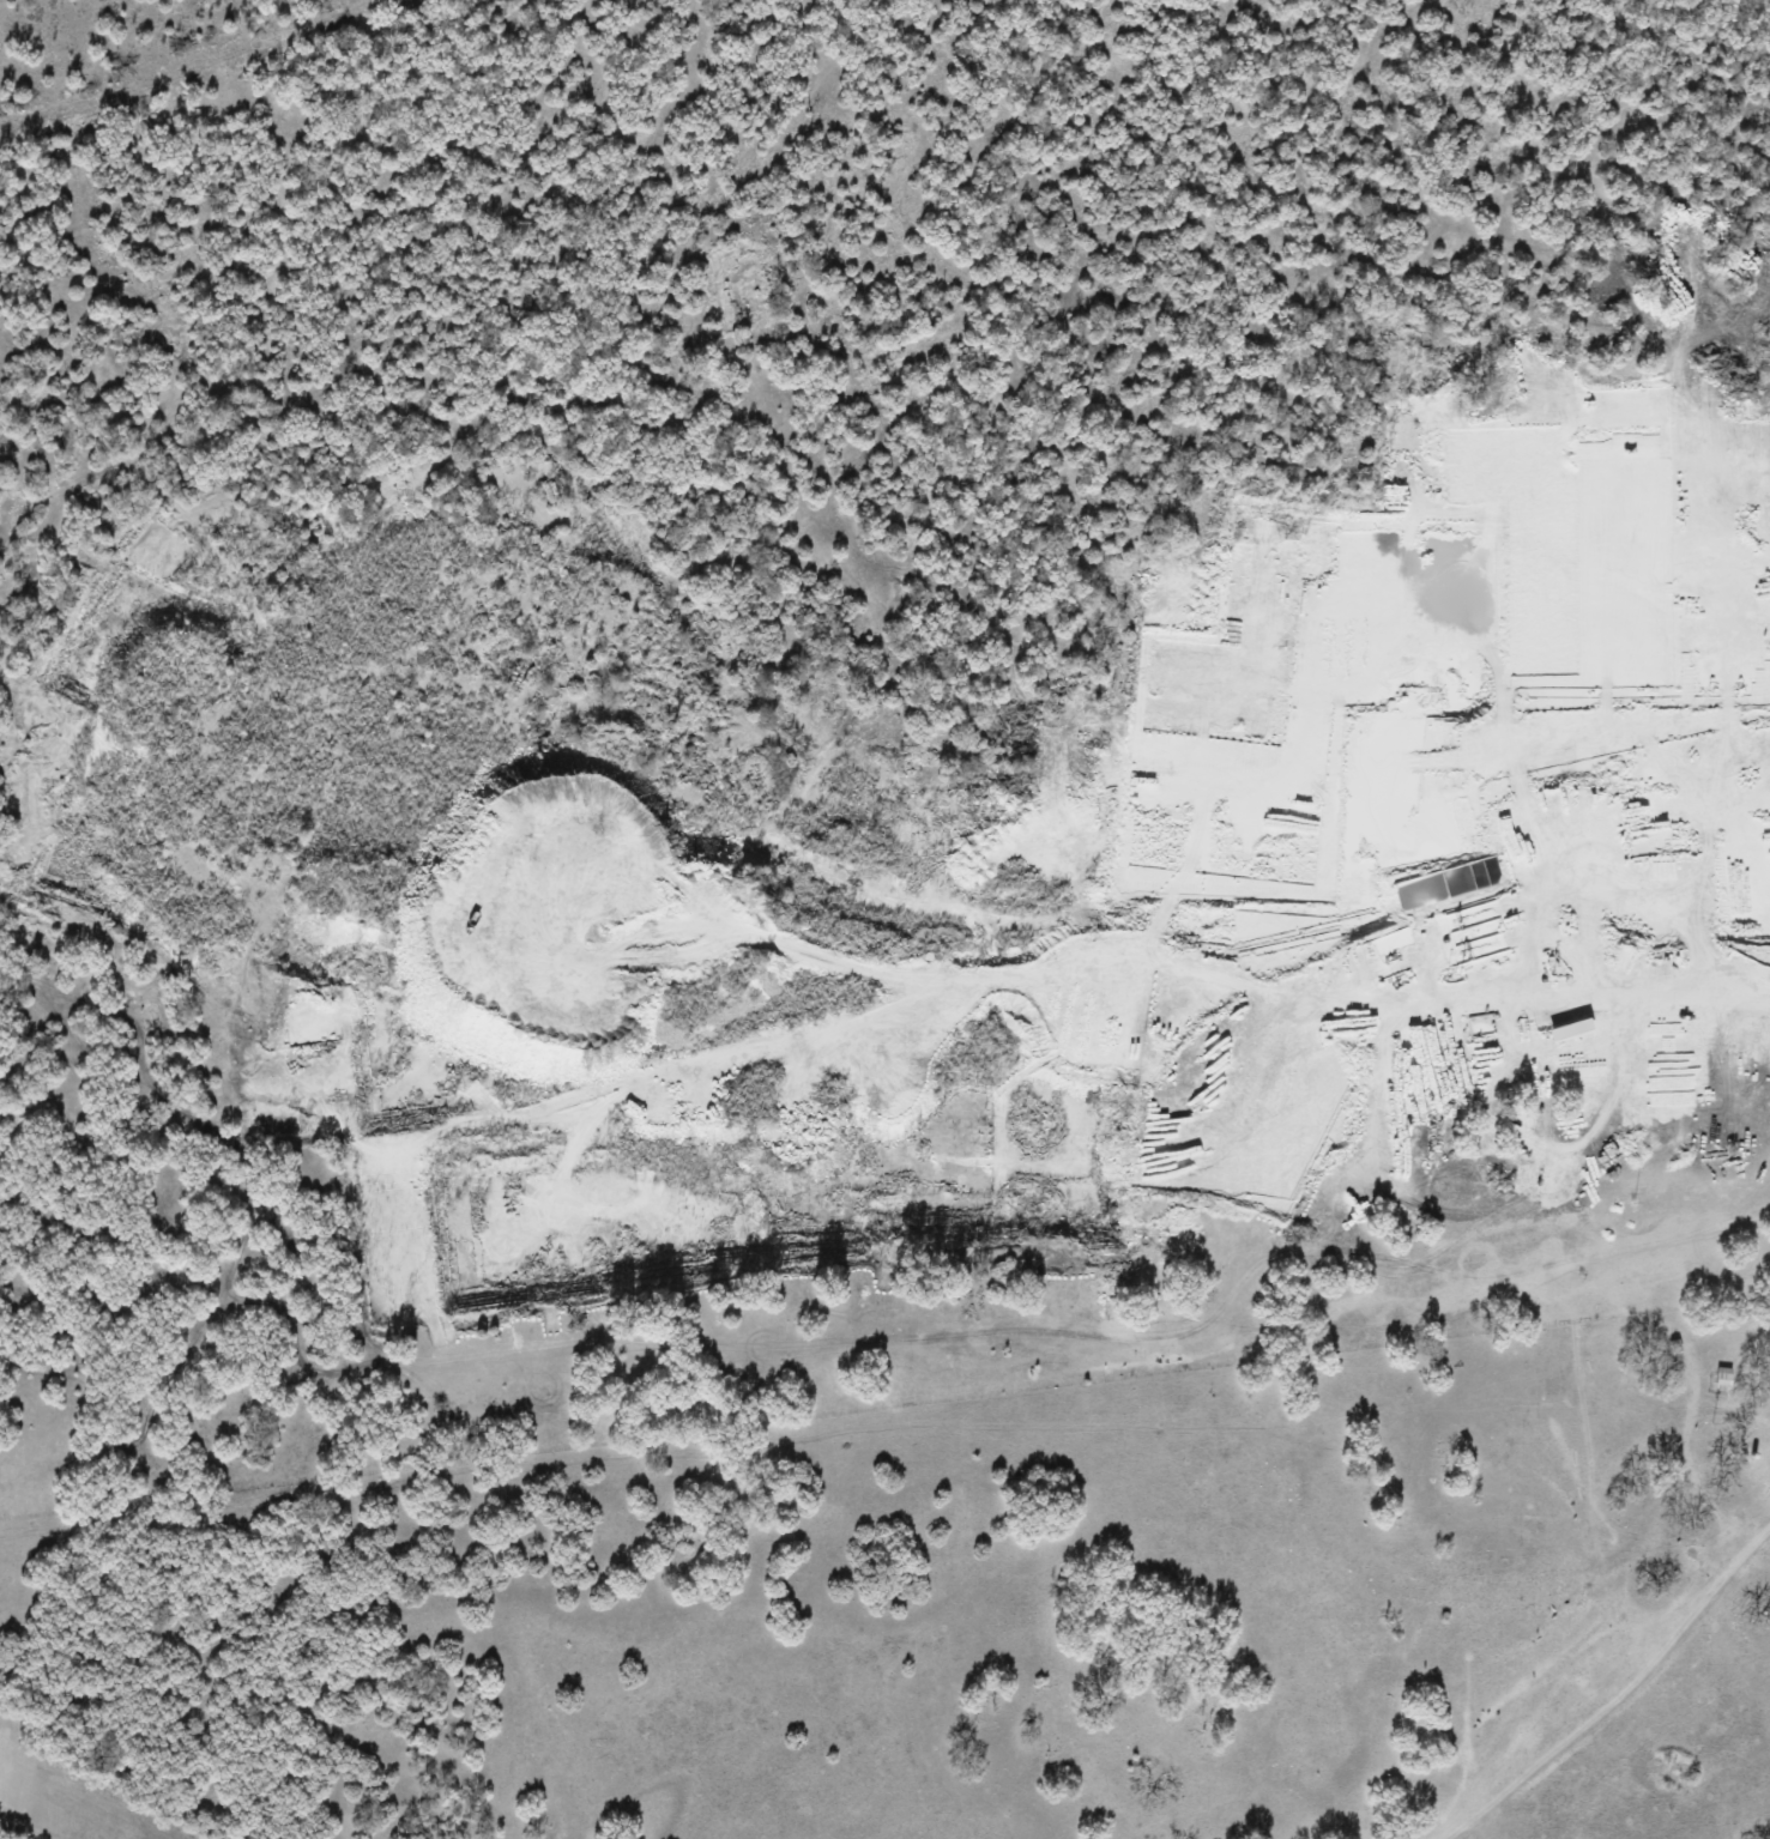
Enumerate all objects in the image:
quarry: (880, 914)
building: (1718, 1375)

